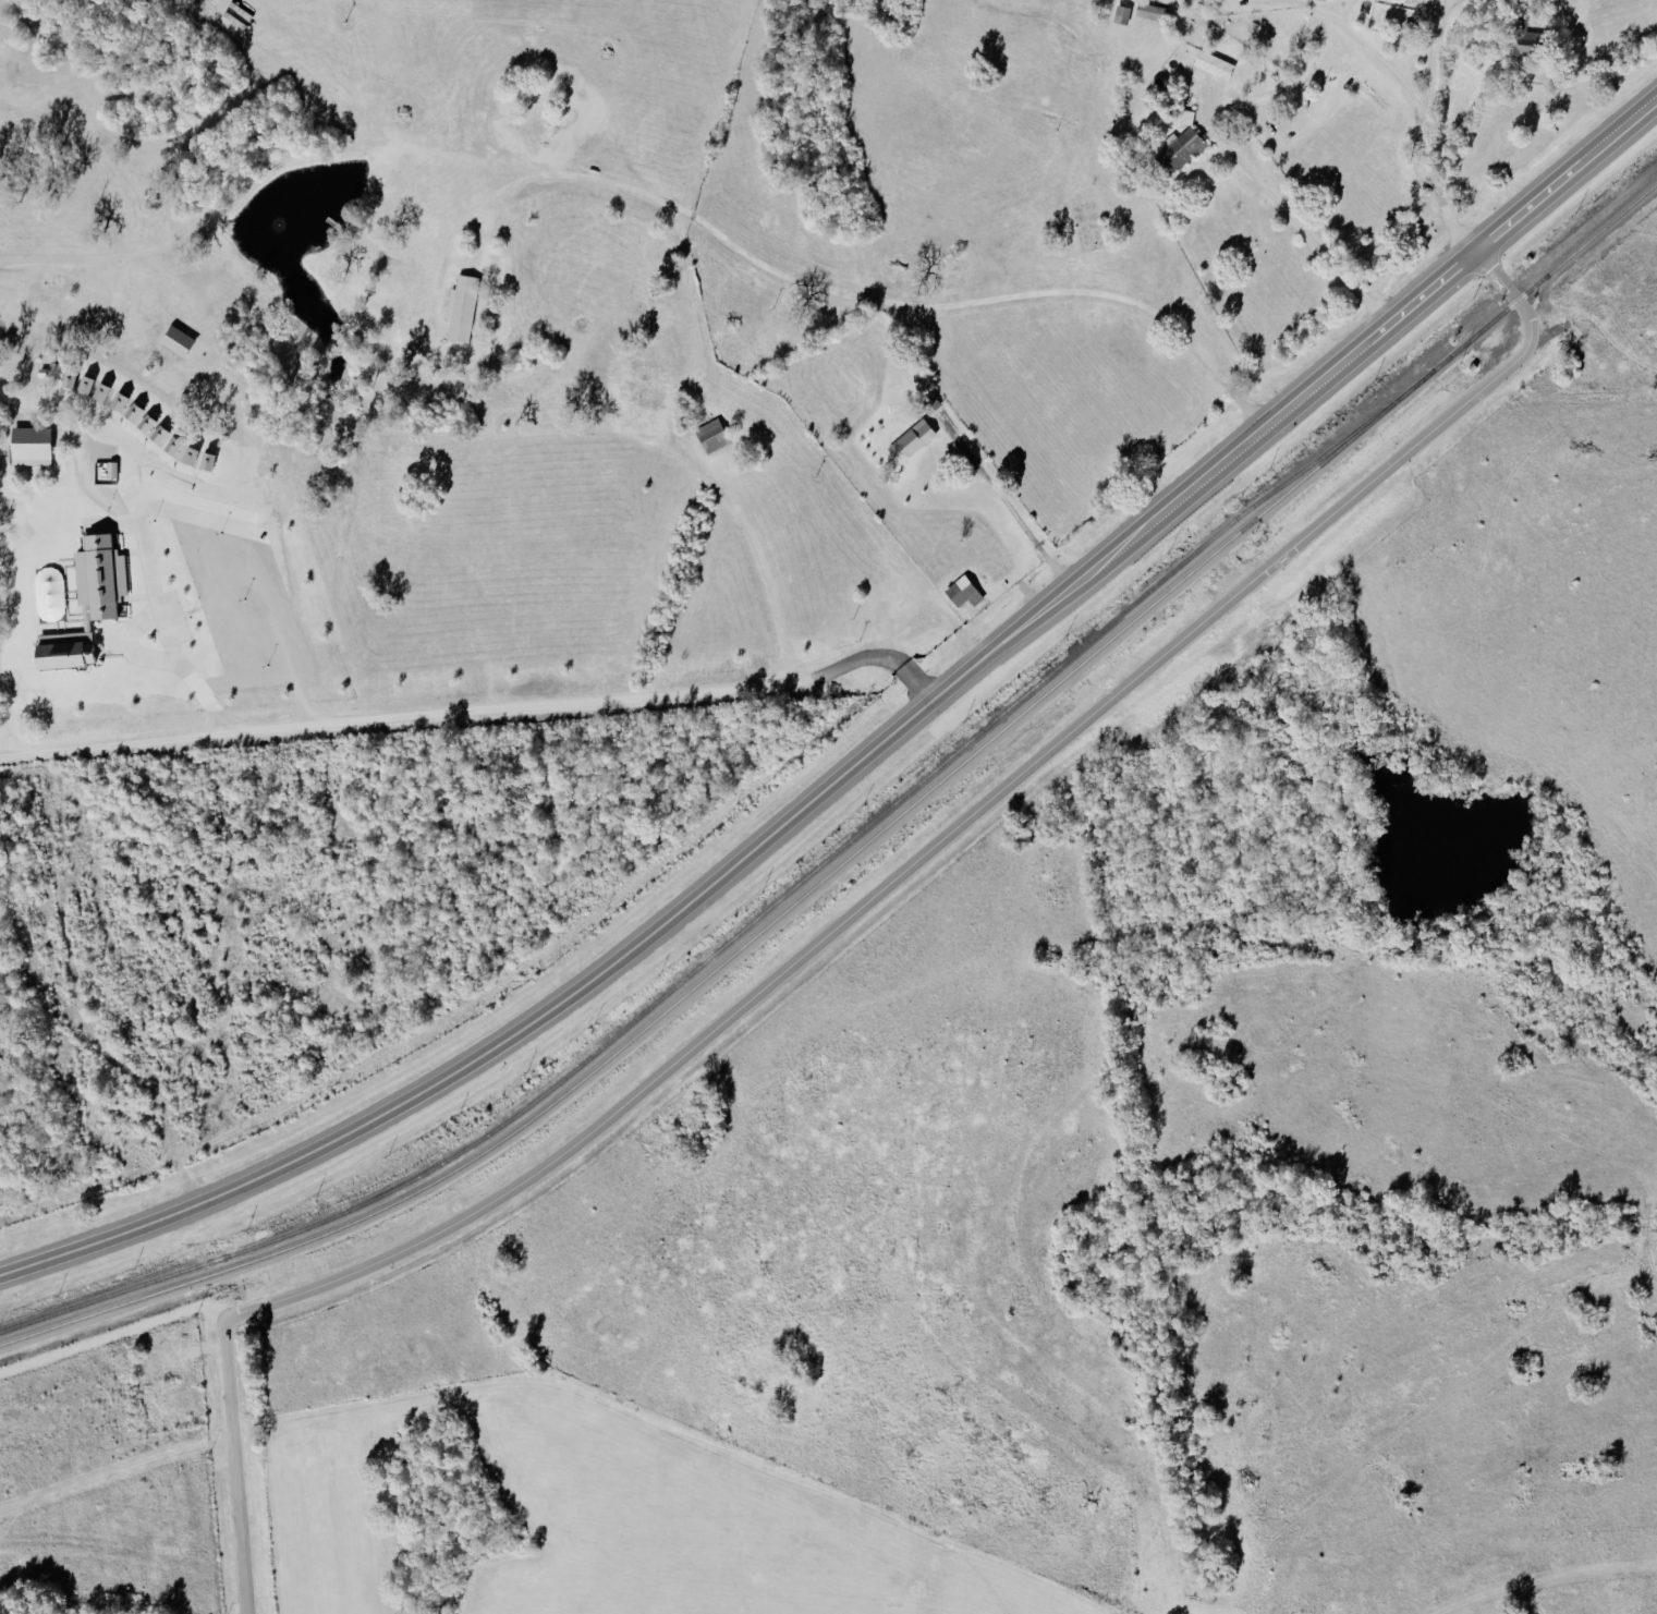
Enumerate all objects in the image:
road: (1335, 5)
building: (1522, 36)
road: (1436, 56)
building: (1215, 63)
road: (1406, 96)
road: (1279, 99)
building: (1182, 148)
road: (1564, 171)
road: (1309, 232)
road: (817, 291)
building: (462, 307)
road: (1368, 335)
building: (86, 384)
building: (101, 391)
building: (931, 404)
building: (160, 433)
building: (712, 435)
building: (912, 440)
building: (32, 445)
building: (174, 446)
road: (1009, 503)
road: (766, 573)
building: (100, 574)
building: (964, 591)
road: (134, 621)
road: (510, 713)
railway: (869, 832)
road: (947, 839)
road: (673, 914)
road: (635, 1430)
road: (234, 1470)

